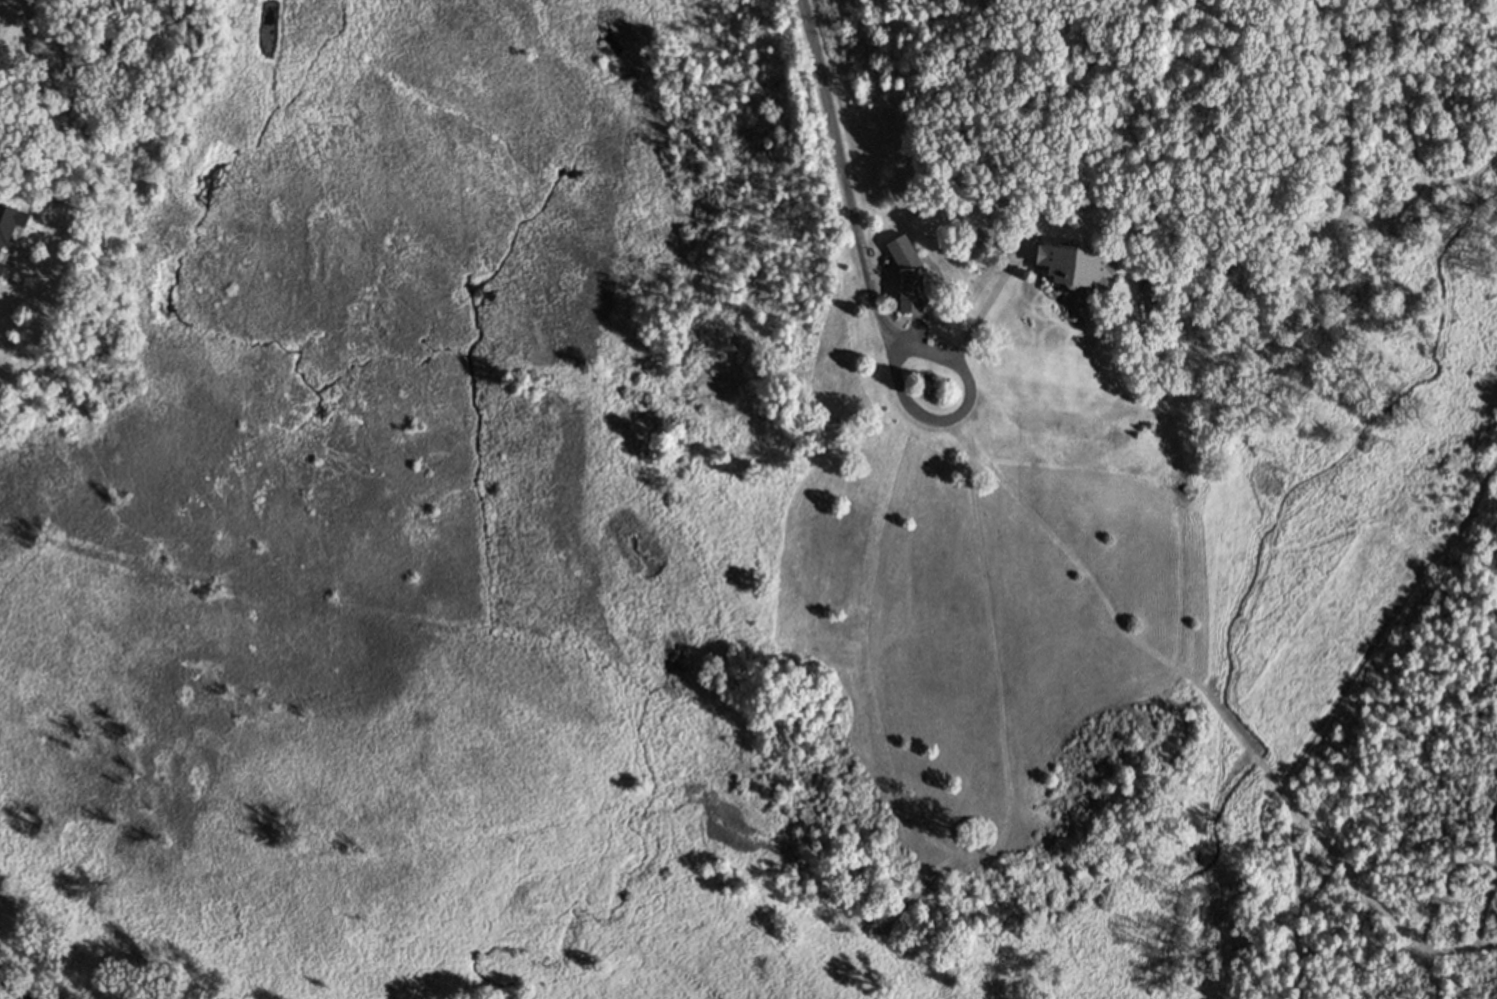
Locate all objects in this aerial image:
building: (46, 186)
road: (852, 214)
building: (10, 220)
building: (1074, 263)
building: (1, 266)
building: (907, 273)
road: (987, 299)
road: (967, 379)
road: (1195, 681)

